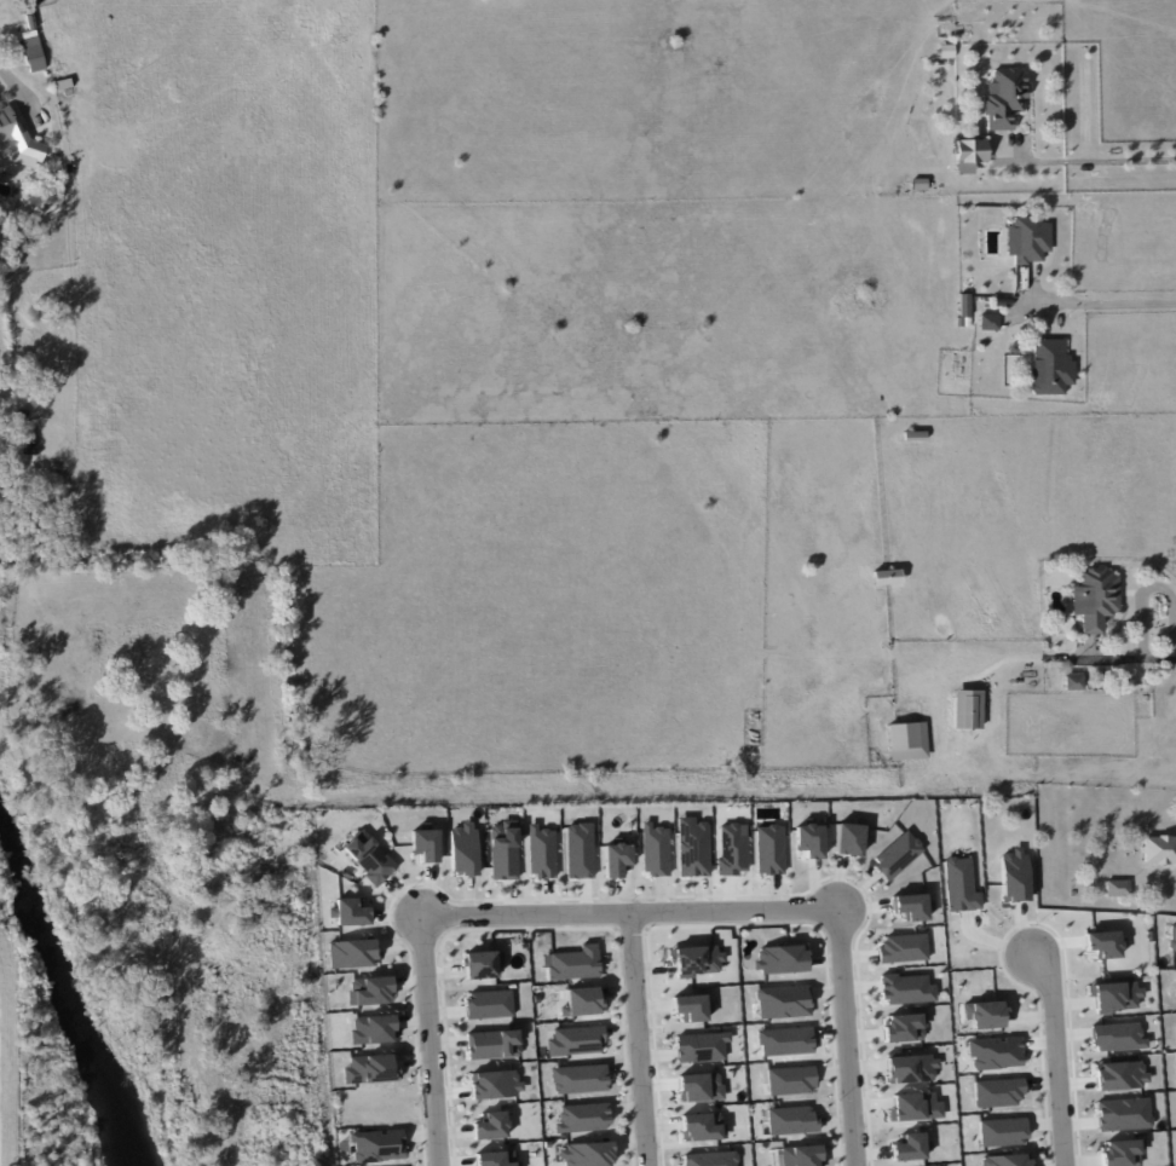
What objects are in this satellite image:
building: (33, 51)
building: (1003, 97)
building: (17, 142)
building: (969, 154)
road: (1099, 161)
building: (1027, 239)
road: (1107, 300)
building: (988, 322)
building: (1050, 366)
building: (886, 576)
road: (1149, 587)
building: (1095, 598)
road: (1116, 658)
building: (1073, 681)
building: (967, 709)
building: (906, 740)
building: (848, 838)
building: (809, 839)
building: (425, 844)
building: (693, 847)
building: (463, 848)
building: (503, 849)
building: (655, 849)
building: (732, 849)
building: (769, 849)
building: (1159, 849)
building: (580, 850)
building: (541, 852)
building: (897, 855)
building: (368, 856)
building: (617, 859)
building: (1013, 874)
building: (959, 884)
building: (911, 906)
building: (351, 911)
road: (640, 911)
building: (1171, 937)
building: (1105, 943)
building: (903, 947)
building: (352, 953)
building: (780, 958)
building: (697, 959)
building: (483, 963)
building: (572, 963)
building: (906, 988)
building: (369, 989)
building: (1116, 994)
building: (581, 1000)
building: (783, 1002)
building: (489, 1004)
building: (691, 1006)
building: (984, 1014)
building: (904, 1027)
building: (373, 1028)
building: (1117, 1037)
road: (636, 1039)
building: (576, 1040)
building: (785, 1040)
building: (494, 1044)
building: (701, 1046)
building: (995, 1052)
road: (1056, 1052)
building: (911, 1068)
building: (370, 1069)
building: (1120, 1075)
building: (578, 1078)
building: (790, 1080)
building: (495, 1084)
building: (699, 1086)
building: (998, 1092)
building: (915, 1107)
building: (1123, 1113)
building: (582, 1118)
building: (791, 1120)
building: (490, 1125)
building: (703, 1126)
building: (1002, 1131)
building: (377, 1145)
building: (910, 1147)
building: (1122, 1151)
building: (587, 1154)
building: (801, 1155)
building: (496, 1159)
building: (710, 1159)
building: (1005, 1160)

